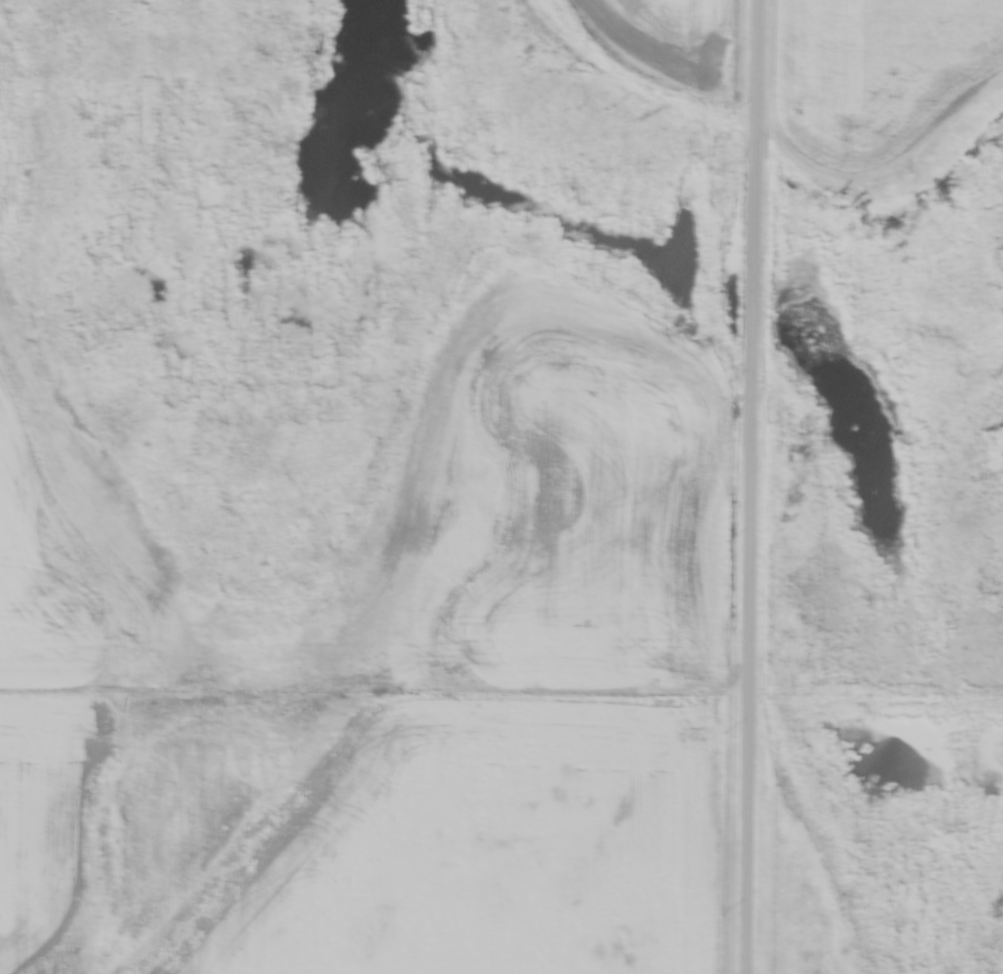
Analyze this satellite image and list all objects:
road: (751, 486)

